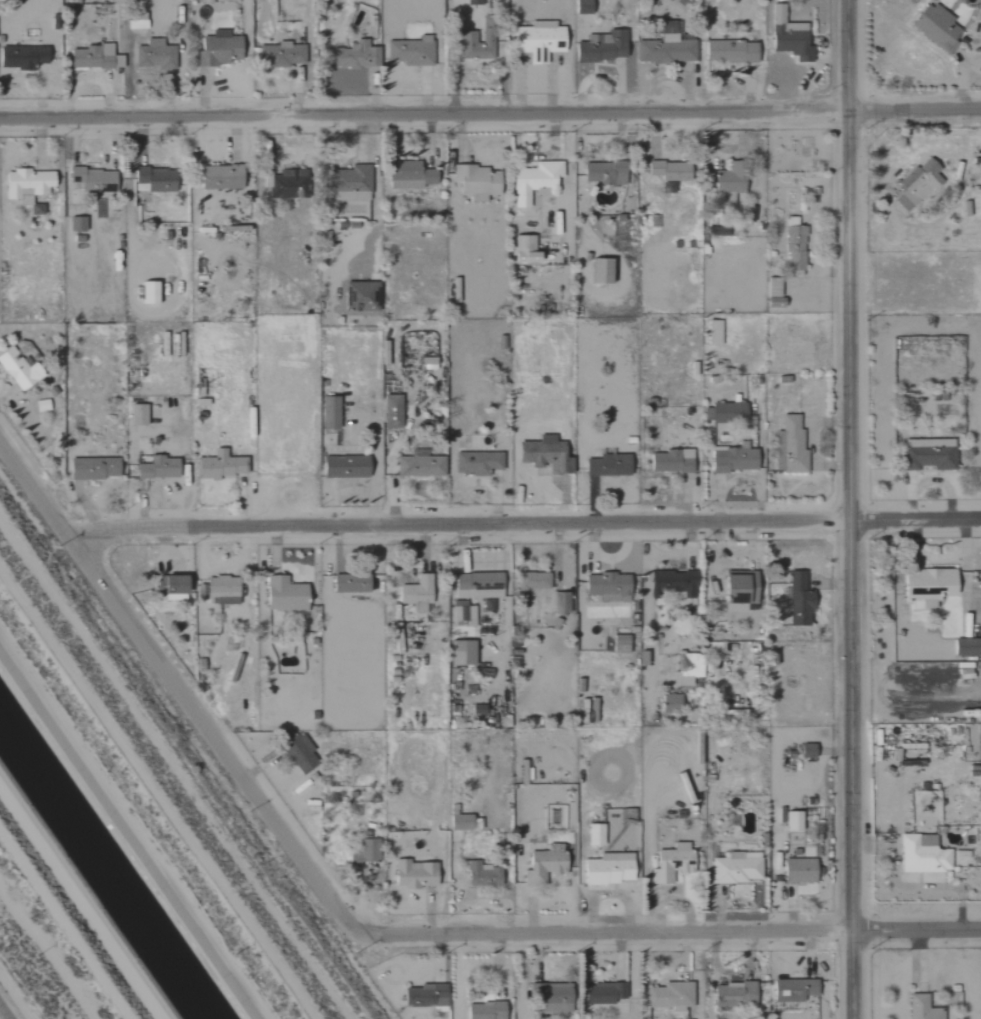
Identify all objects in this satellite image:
building: (581, 6)
building: (933, 26)
building: (786, 35)
building: (535, 40)
building: (601, 47)
building: (222, 49)
building: (663, 49)
building: (728, 51)
building: (413, 52)
building: (157, 55)
building: (283, 55)
building: (362, 55)
building: (24, 57)
building: (97, 58)
road: (490, 114)
building: (667, 170)
building: (602, 172)
building: (411, 175)
building: (223, 177)
building: (96, 180)
building: (157, 180)
building: (474, 181)
building: (531, 182)
building: (288, 184)
building: (354, 184)
building: (724, 184)
building: (915, 184)
building: (30, 187)
building: (79, 224)
building: (793, 245)
building: (521, 248)
building: (596, 270)
building: (771, 287)
building: (152, 293)
building: (358, 296)
building: (712, 332)
building: (20, 369)
building: (389, 411)
building: (328, 412)
building: (721, 412)
building: (135, 414)
building: (788, 447)
building: (543, 454)
building: (926, 454)
building: (731, 460)
building: (669, 461)
building: (475, 462)
building: (217, 465)
building: (605, 465)
building: (343, 466)
building: (92, 468)
building: (155, 468)
road: (39, 496)
road: (854, 509)
road: (523, 523)
building: (530, 581)
building: (348, 583)
building: (671, 584)
building: (476, 585)
building: (169, 587)
building: (605, 587)
building: (735, 588)
building: (217, 590)
building: (415, 593)
building: (283, 595)
building: (795, 596)
building: (559, 603)
building: (462, 613)
building: (618, 644)
building: (964, 647)
building: (459, 653)
building: (686, 668)
road: (213, 734)
building: (804, 750)
building: (296, 753)
road: (157, 795)
building: (790, 821)
road: (130, 829)
building: (593, 834)
building: (363, 852)
building: (920, 855)
building: (669, 863)
building: (541, 867)
building: (606, 869)
building: (733, 869)
building: (796, 871)
building: (412, 874)
building: (481, 874)
road: (83, 898)
road: (63, 929)
road: (661, 933)
road: (456, 978)
building: (791, 990)
building: (601, 993)
building: (731, 995)
building: (669, 996)
building: (423, 997)
building: (550, 998)
building: (920, 1008)
building: (483, 1011)
road: (2, 1015)

